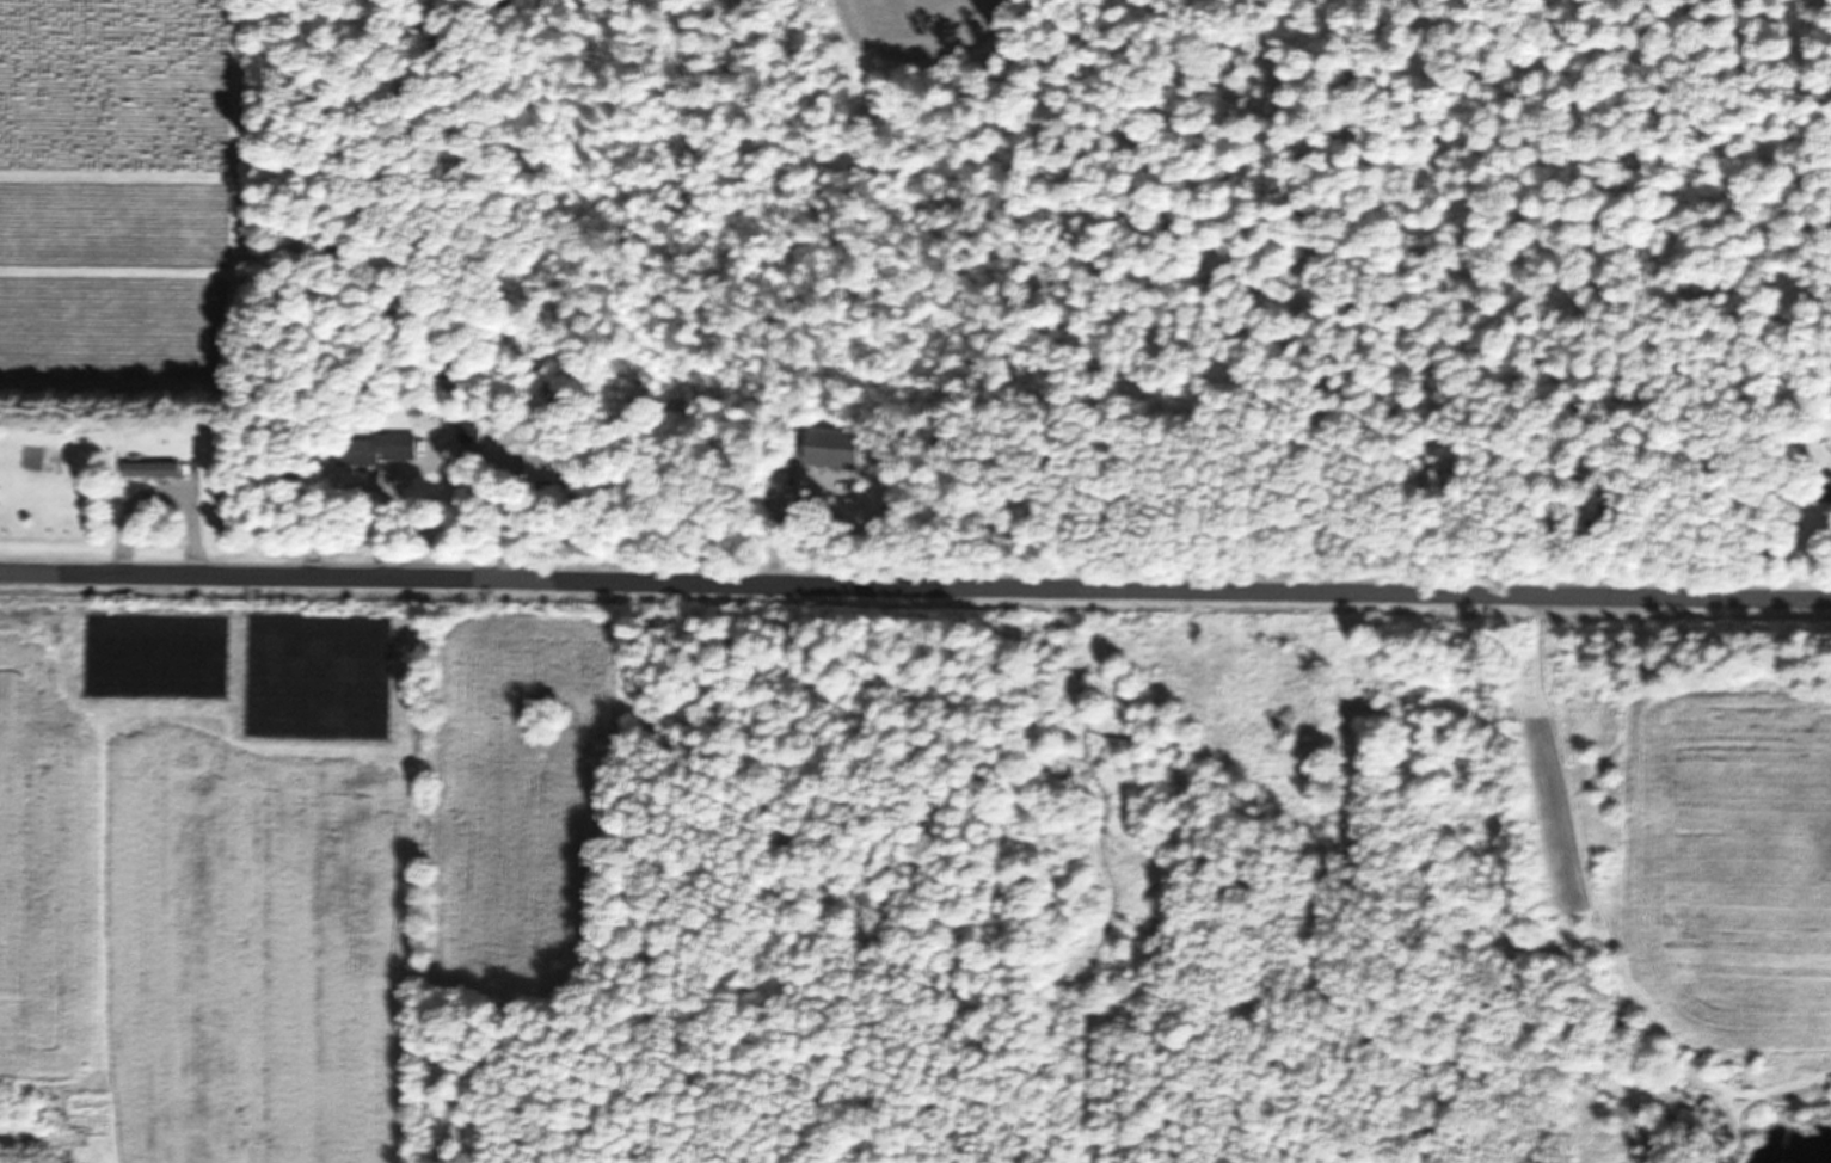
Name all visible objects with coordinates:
building: (471, 432)
building: (819, 448)
building: (380, 449)
building: (153, 468)
road: (915, 584)
crop: (283, 848)

